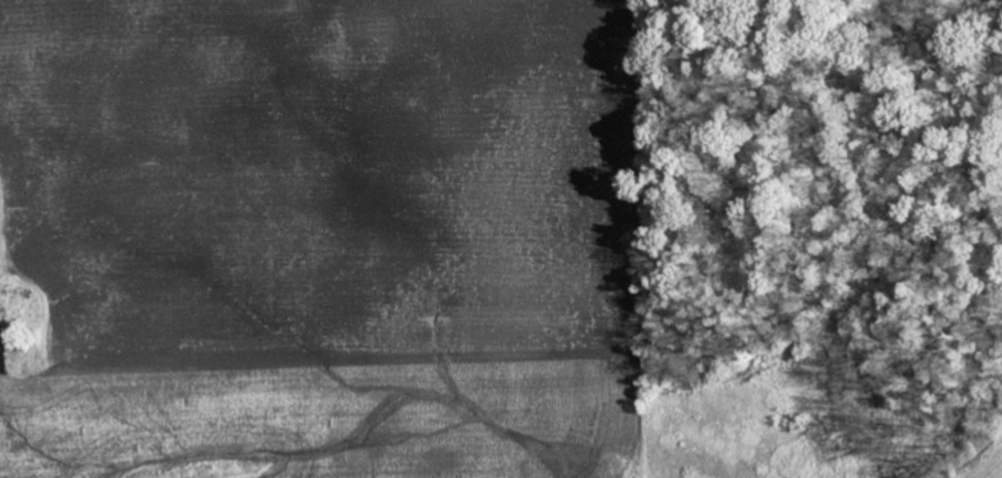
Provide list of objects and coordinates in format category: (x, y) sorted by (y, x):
crop: (981, 463)

